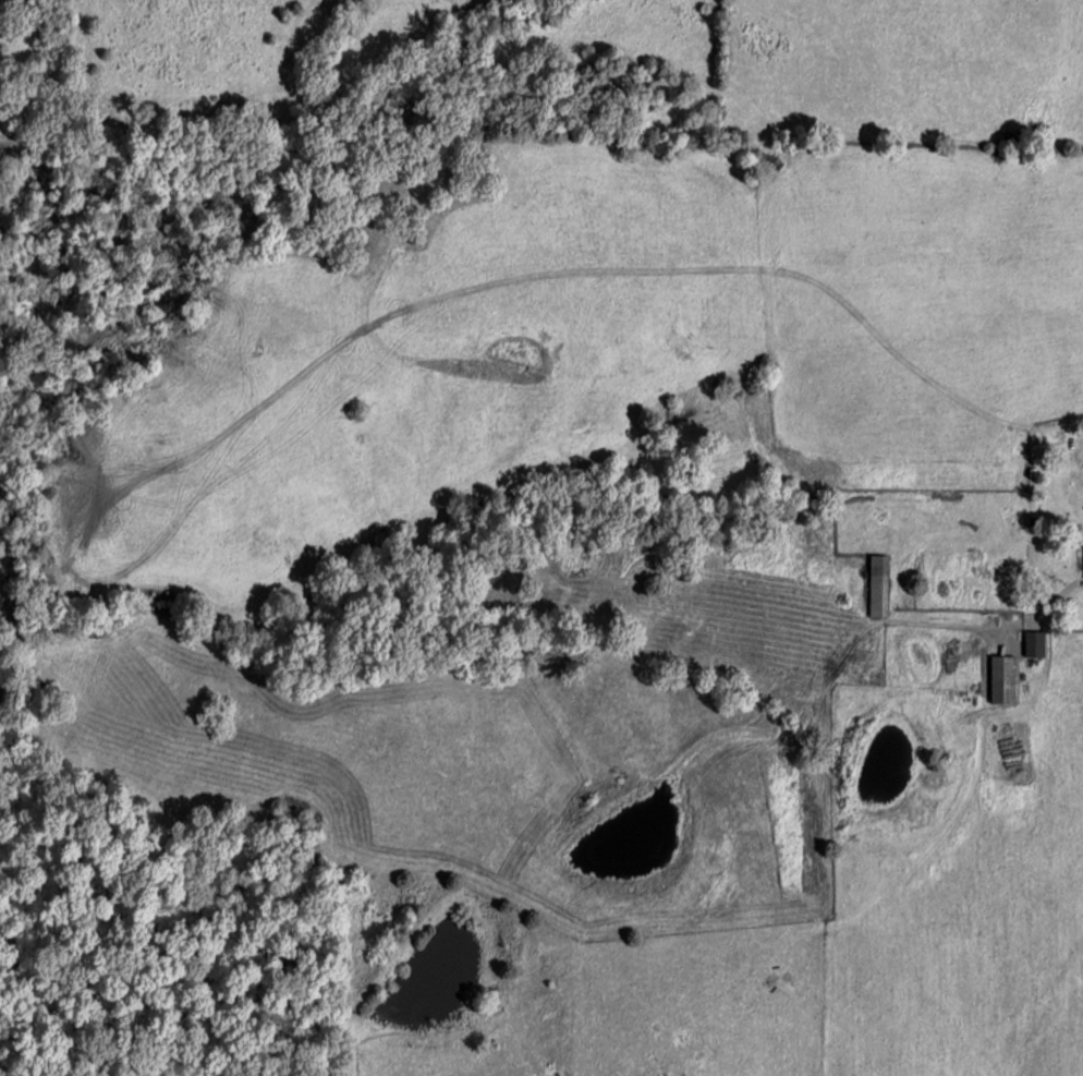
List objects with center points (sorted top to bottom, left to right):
building: (878, 584)
building: (1034, 642)
building: (1002, 678)

